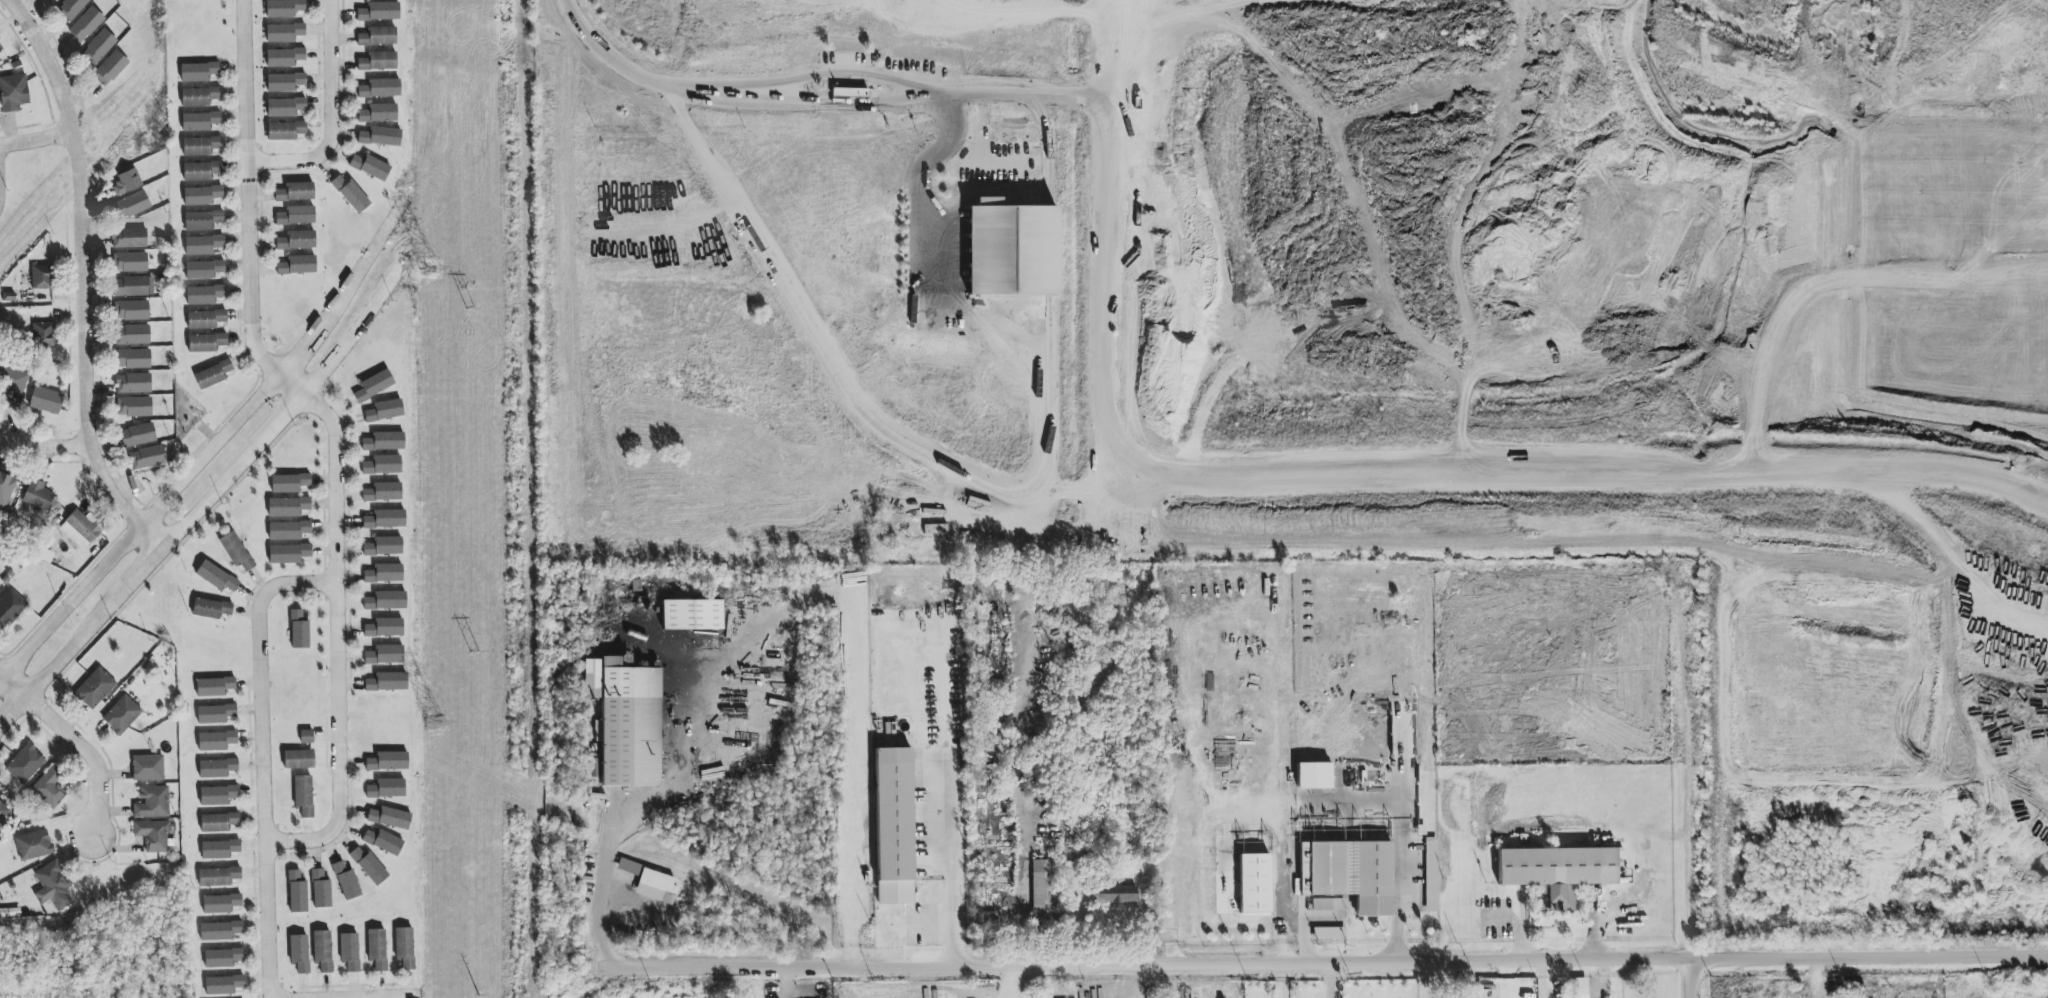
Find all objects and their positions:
building: (71, 8)
building: (283, 8)
building: (379, 12)
building: (86, 25)
building: (283, 33)
building: (378, 36)
building: (0, 48)
building: (98, 48)
building: (284, 57)
building: (378, 61)
road: (49, 62)
building: (110, 68)
building: (198, 72)
road: (838, 72)
road: (643, 73)
building: (284, 82)
building: (380, 88)
building: (13, 92)
road: (1006, 92)
building: (199, 96)
building: (284, 107)
road: (837, 108)
building: (378, 113)
road: (329, 114)
building: (200, 121)
building: (285, 131)
building: (380, 137)
road: (36, 141)
building: (201, 146)
building: (370, 167)
building: (201, 171)
building: (127, 182)
building: (295, 192)
building: (350, 194)
building: (201, 195)
building: (130, 206)
building: (296, 216)
building: (202, 220)
building: (129, 238)
building: (296, 240)
building: (203, 245)
building: (1011, 249)
landfill: (1572, 249)
building: (131, 262)
building: (297, 265)
building: (204, 270)
power tower: (430, 270)
building: (41, 277)
building: (131, 286)
road: (343, 289)
building: (204, 294)
building: (131, 310)
building: (205, 319)
road: (354, 329)
building: (44, 335)
building: (133, 335)
building: (205, 343)
road: (85, 352)
building: (132, 359)
building: (212, 375)
building: (16, 381)
building: (133, 384)
building: (374, 386)
building: (46, 401)
building: (133, 407)
building: (385, 410)
road: (334, 434)
building: (137, 435)
building: (384, 442)
road: (43, 447)
building: (148, 457)
building: (382, 465)
road: (231, 471)
road: (978, 479)
building: (289, 483)
building: (6, 489)
building: (383, 492)
building: (37, 496)
building: (288, 507)
building: (385, 519)
road: (138, 526)
building: (80, 529)
building: (288, 530)
building: (384, 546)
building: (237, 552)
building: (288, 554)
road: (141, 570)
building: (384, 573)
building: (216, 577)
building: (386, 601)
building: (10, 607)
building: (210, 608)
building: (691, 615)
building: (384, 628)
building: (299, 630)
road: (72, 644)
building: (385, 655)
building: (626, 661)
building: (387, 682)
road: (12, 683)
building: (214, 687)
building: (94, 688)
road: (12, 708)
building: (121, 715)
building: (626, 721)
power tower: (438, 723)
road: (862, 733)
building: (306, 736)
building: (216, 741)
road: (91, 755)
road: (262, 758)
building: (299, 759)
road: (1697, 761)
building: (387, 762)
building: (25, 764)
building: (148, 768)
building: (217, 768)
building: (1313, 776)
building: (49, 788)
building: (386, 788)
building: (217, 795)
building: (303, 795)
building: (152, 802)
building: (4, 813)
building: (390, 818)
building: (218, 822)
building: (894, 826)
building: (153, 835)
building: (383, 841)
building: (33, 845)
building: (219, 849)
building: (926, 864)
building: (369, 866)
building: (628, 867)
building: (867, 868)
building: (1556, 873)
building: (1349, 874)
building: (1431, 875)
building: (218, 877)
road: (953, 877)
building: (346, 881)
building: (656, 886)
building: (1251, 886)
building: (52, 887)
building: (321, 890)
building: (1044, 890)
building: (297, 892)
building: (1112, 893)
road: (1399, 902)
building: (220, 903)
building: (1328, 904)
road: (956, 930)
building: (219, 931)
building: (1329, 933)
building: (404, 947)
building: (377, 949)
building: (322, 951)
building: (350, 951)
building: (299, 953)
building: (222, 958)
road: (1263, 960)
road: (1331, 979)
road: (1010, 980)
building: (223, 985)
building: (1579, 988)
road: (1697, 992)
road: (401, 997)

